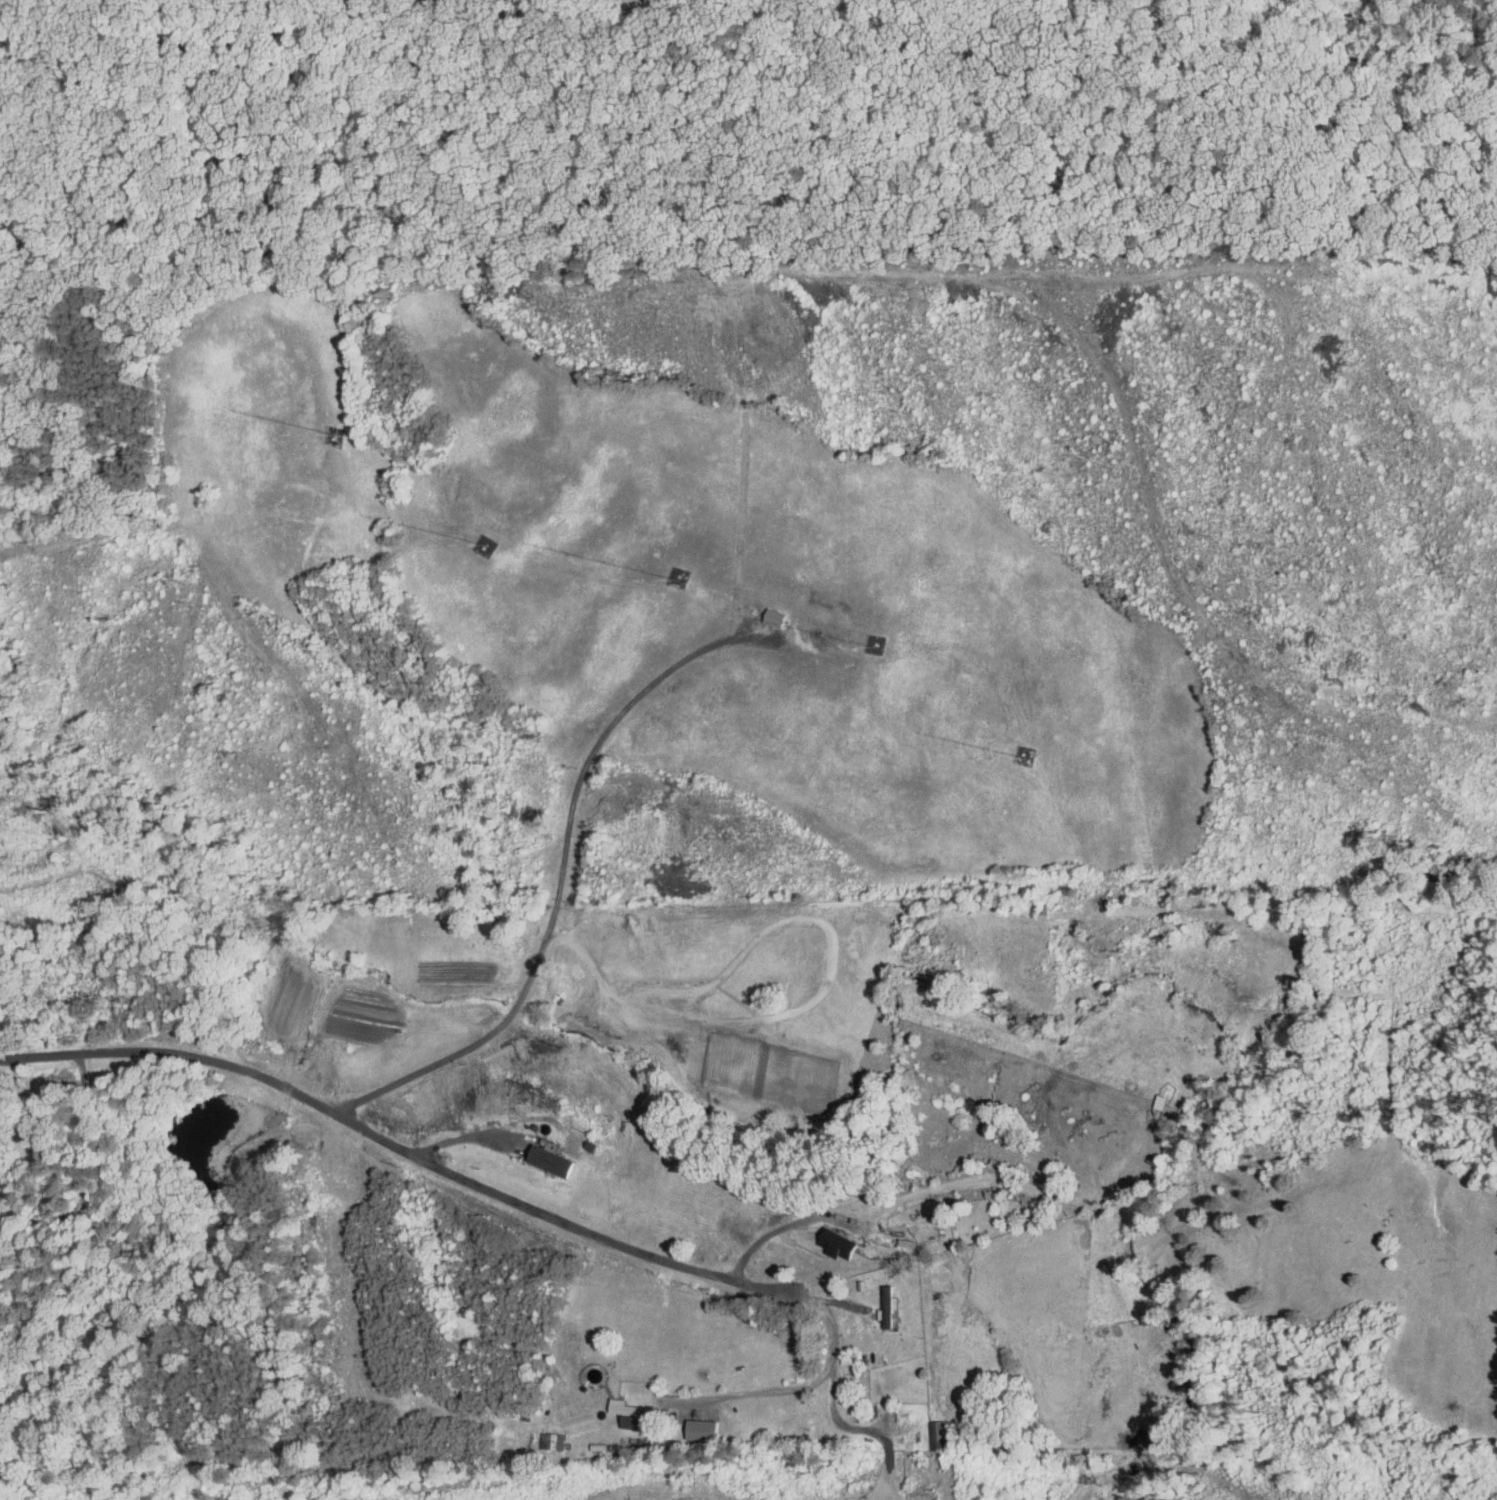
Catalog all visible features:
building: (759, 612)
road: (562, 878)
road: (177, 1059)
road: (467, 1137)
building: (534, 1155)
road: (83, 1174)
road: (592, 1233)
road: (765, 1236)
building: (821, 1239)
building: (877, 1300)
road: (794, 1387)
building: (611, 1403)
road: (835, 1414)
building: (684, 1424)
building: (541, 1436)

